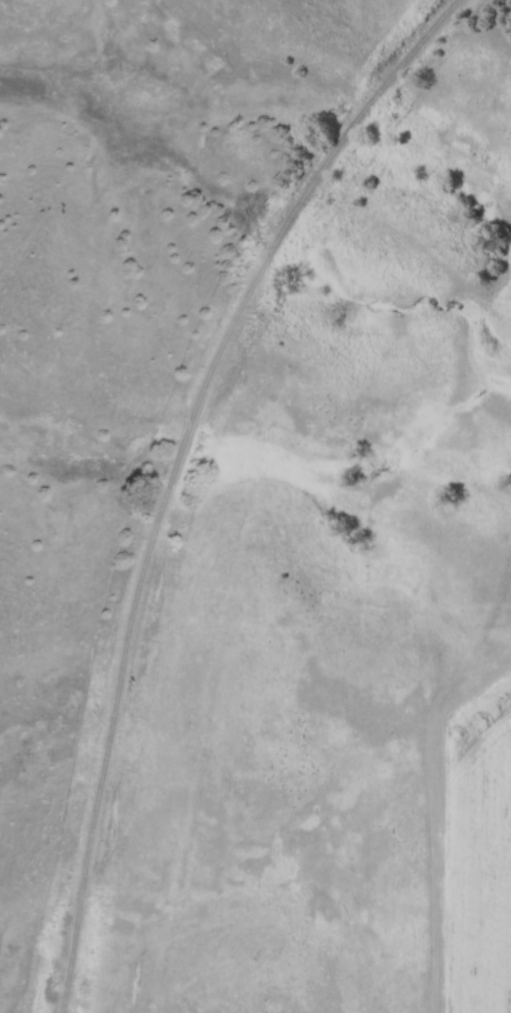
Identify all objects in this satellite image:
railway: (173, 469)
crop: (488, 864)

